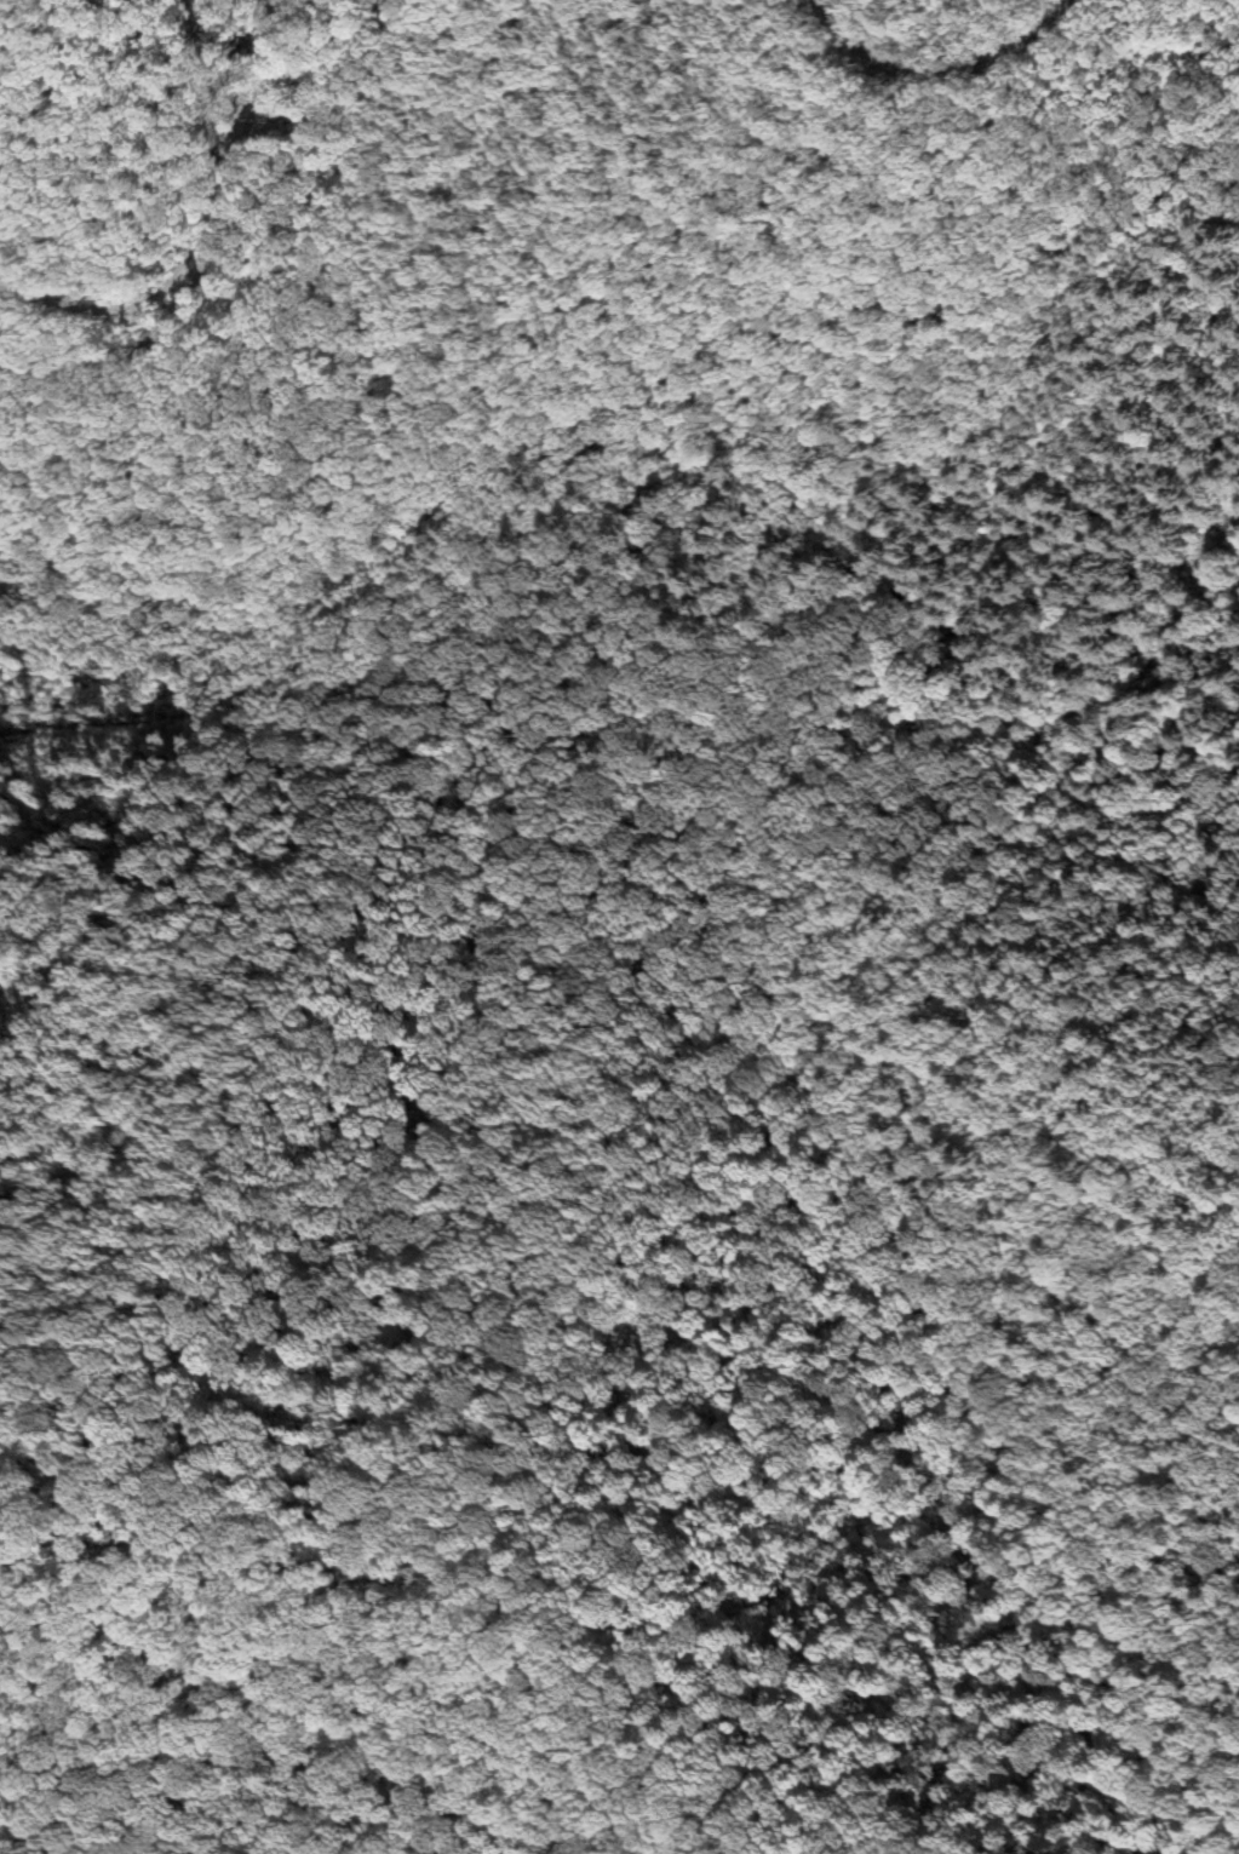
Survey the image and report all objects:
road: (1010, 195)

